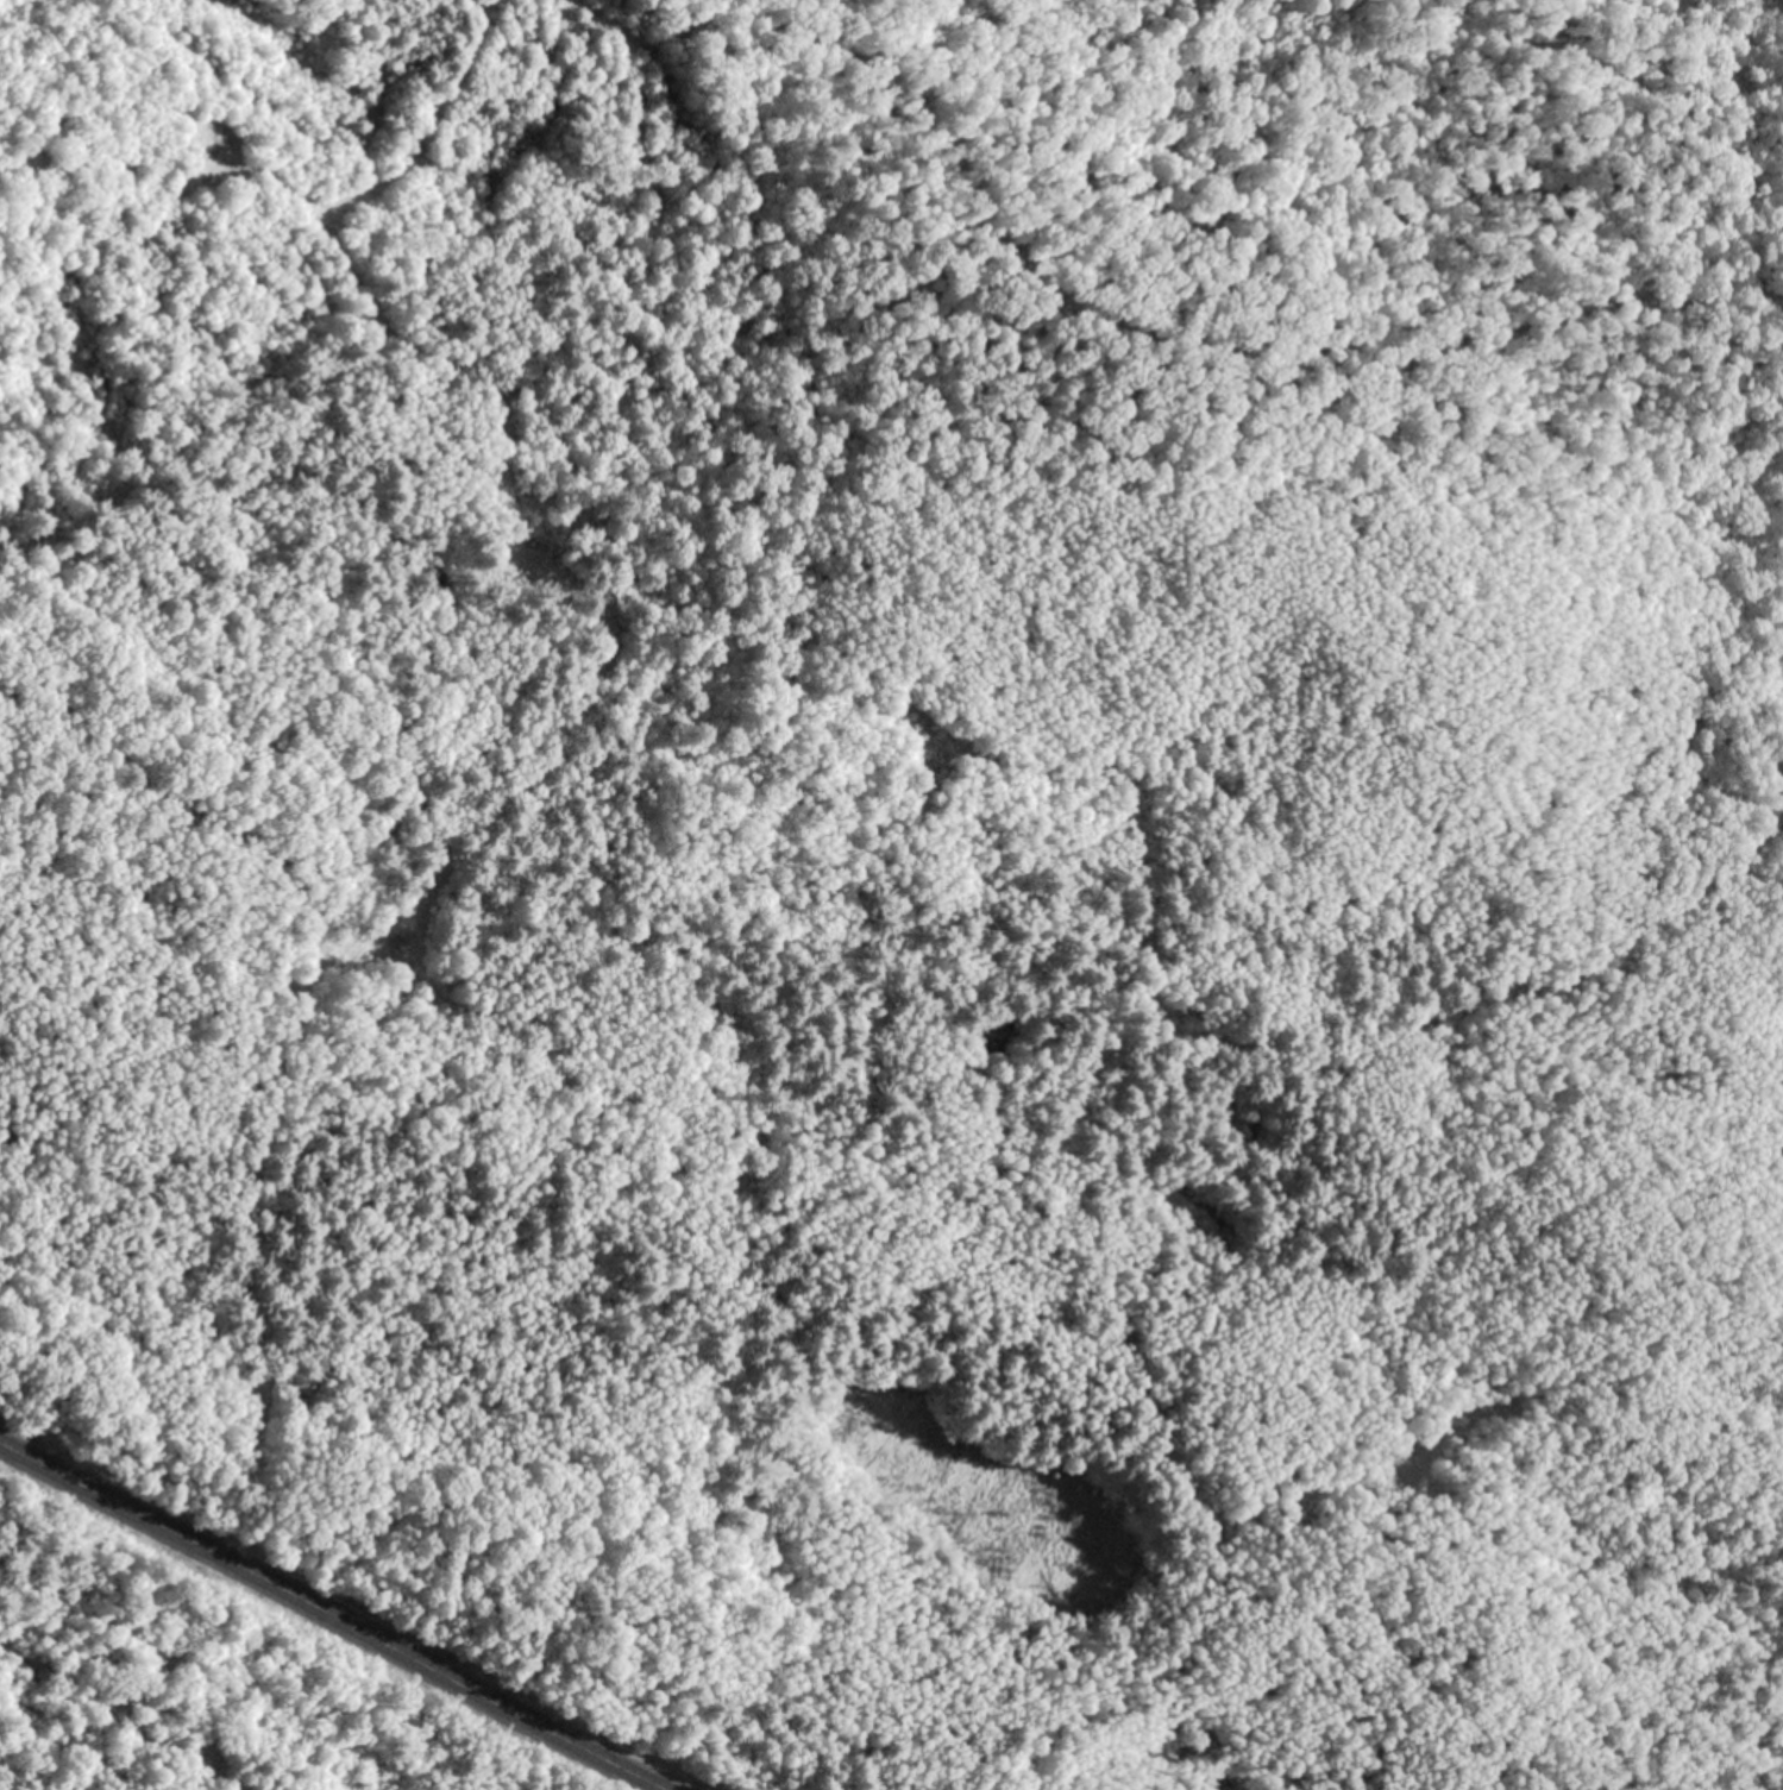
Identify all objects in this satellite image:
road: (334, 1616)

